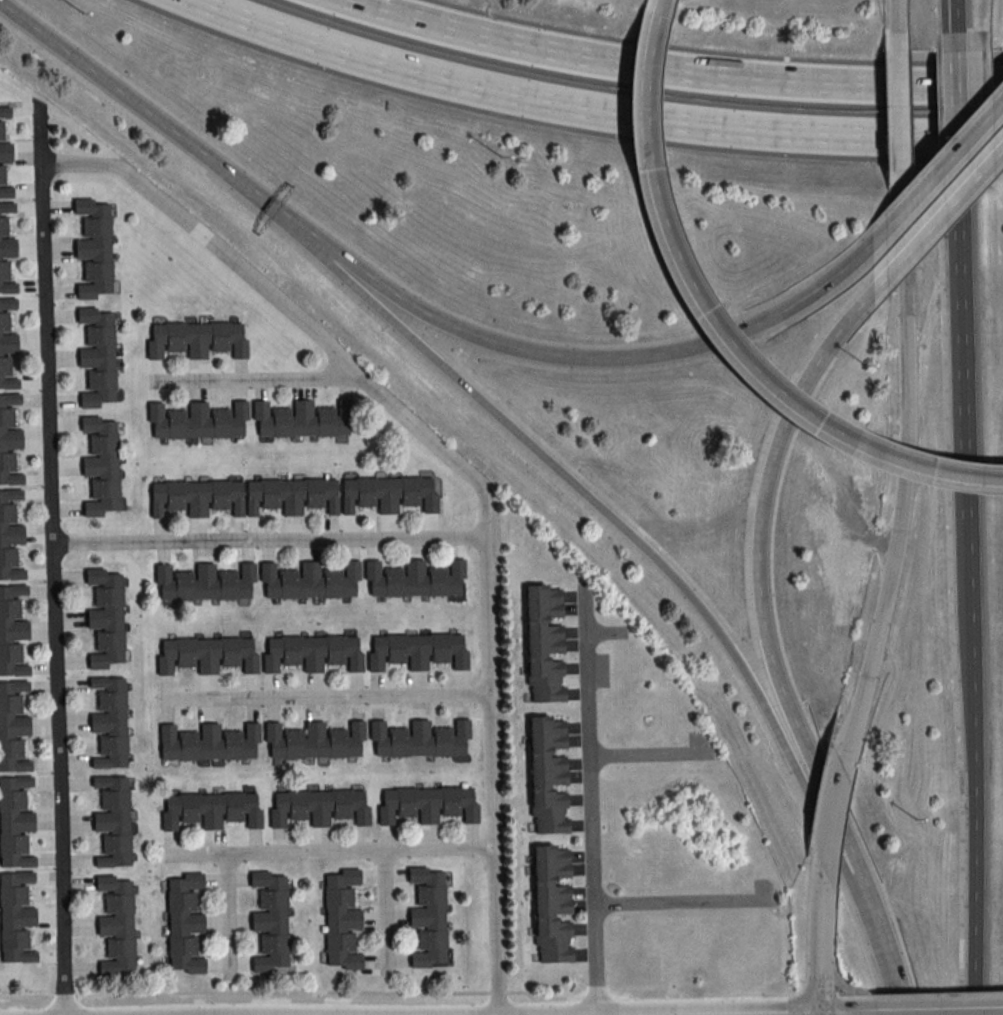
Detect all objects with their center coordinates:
road: (661, 1)
road: (954, 2)
road: (955, 15)
road: (899, 16)
road: (673, 69)
road: (105, 79)
road: (957, 108)
road: (592, 109)
road: (901, 111)
building: (5, 112)
building: (1, 130)
building: (5, 152)
building: (2, 175)
building: (6, 192)
road: (907, 199)
road: (264, 204)
building: (7, 208)
building: (3, 226)
road: (920, 237)
building: (7, 248)
building: (94, 249)
building: (6, 279)
building: (7, 304)
road: (419, 307)
road: (292, 313)
road: (716, 323)
road: (962, 333)
building: (195, 339)
road: (417, 342)
road: (671, 348)
building: (6, 353)
building: (98, 357)
road: (255, 379)
building: (301, 420)
building: (197, 421)
building: (9, 440)
building: (101, 466)
road: (905, 470)
building: (389, 493)
building: (291, 495)
building: (196, 497)
building: (9, 535)
road: (268, 539)
road: (52, 557)
building: (414, 579)
building: (309, 581)
building: (204, 583)
road: (762, 615)
building: (107, 618)
road: (971, 626)
building: (12, 631)
road: (726, 641)
building: (545, 642)
building: (416, 650)
building: (311, 653)
building: (206, 654)
road: (322, 697)
building: (110, 722)
building: (12, 727)
building: (418, 739)
building: (314, 741)
building: (207, 743)
road: (648, 752)
building: (548, 774)
road: (491, 775)
road: (590, 801)
road: (835, 801)
building: (427, 804)
building: (318, 807)
building: (211, 810)
building: (114, 821)
building: (14, 822)
road: (329, 850)
road: (975, 895)
road: (684, 901)
building: (552, 903)
road: (383, 911)
road: (227, 914)
building: (15, 917)
building: (429, 917)
building: (342, 919)
building: (271, 921)
building: (184, 924)
building: (117, 925)
road: (817, 934)
road: (887, 957)
road: (939, 1007)
road: (758, 1012)
road: (819, 1012)
road: (733, 1014)

